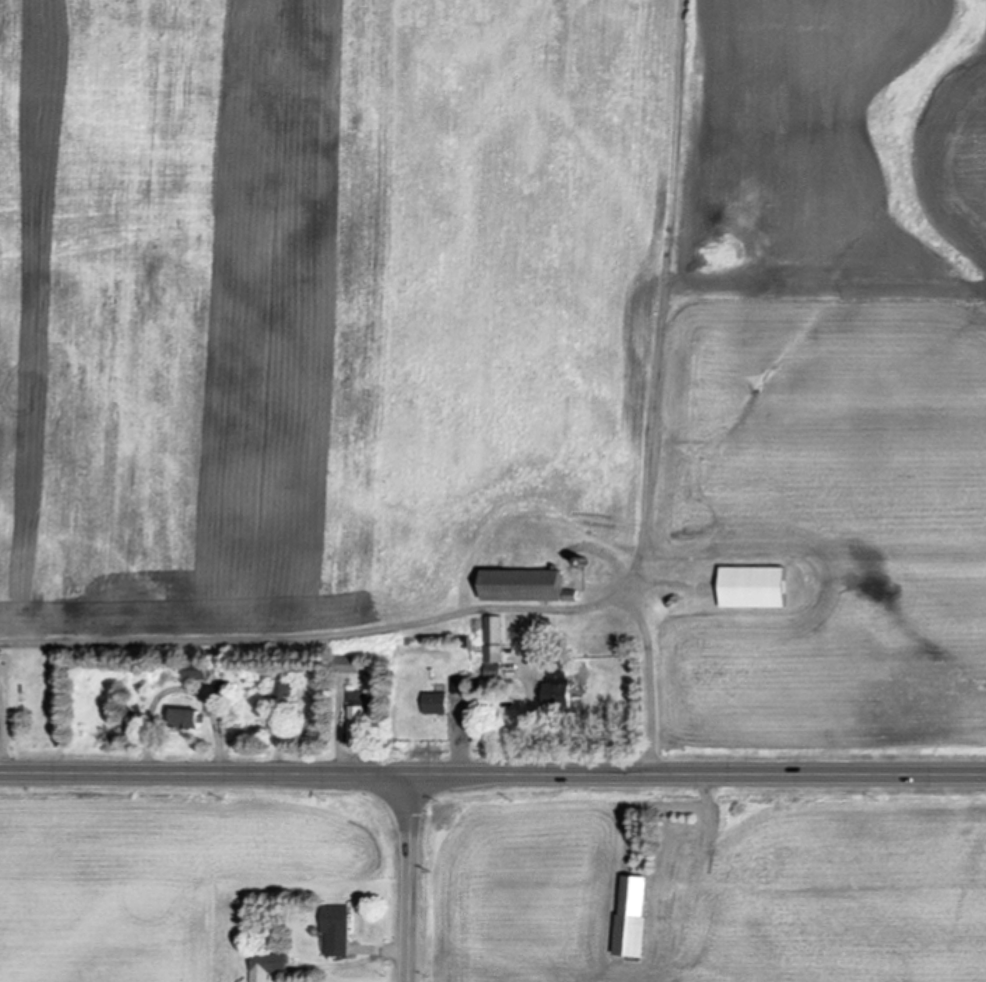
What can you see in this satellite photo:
building: (530, 588)
building: (760, 589)
road: (403, 623)
building: (494, 642)
building: (560, 670)
road: (180, 687)
building: (288, 690)
building: (563, 698)
building: (438, 705)
building: (188, 720)
road: (530, 722)
building: (365, 726)
road: (5, 738)
road: (462, 747)
road: (492, 772)
road: (409, 877)
building: (637, 919)
building: (338, 931)
road: (394, 954)
building: (270, 967)

